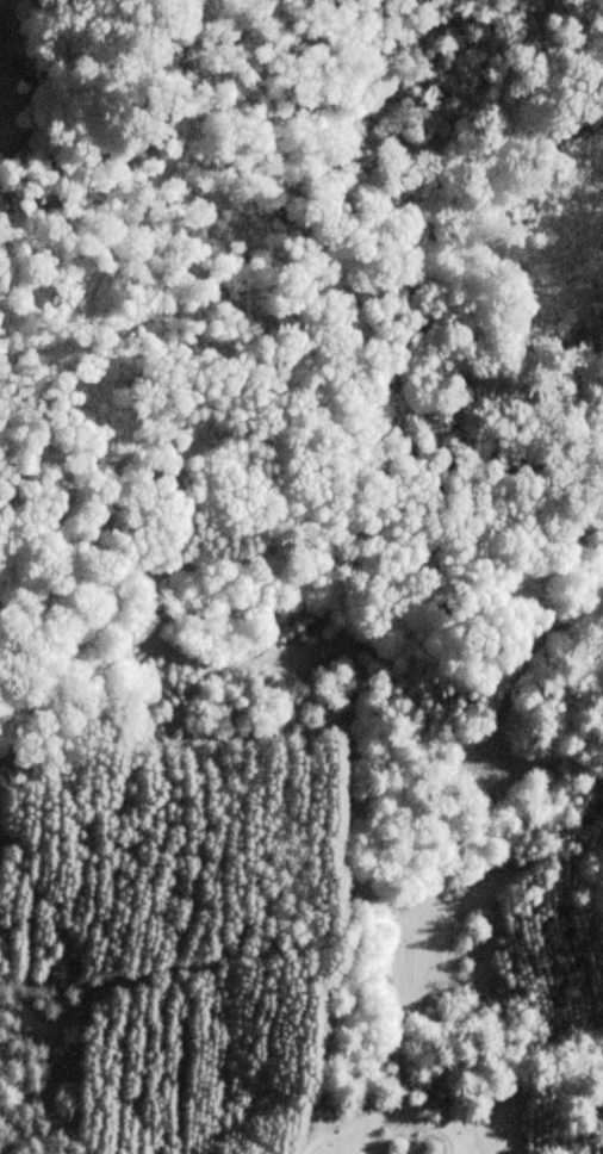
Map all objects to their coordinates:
road: (301, 571)

